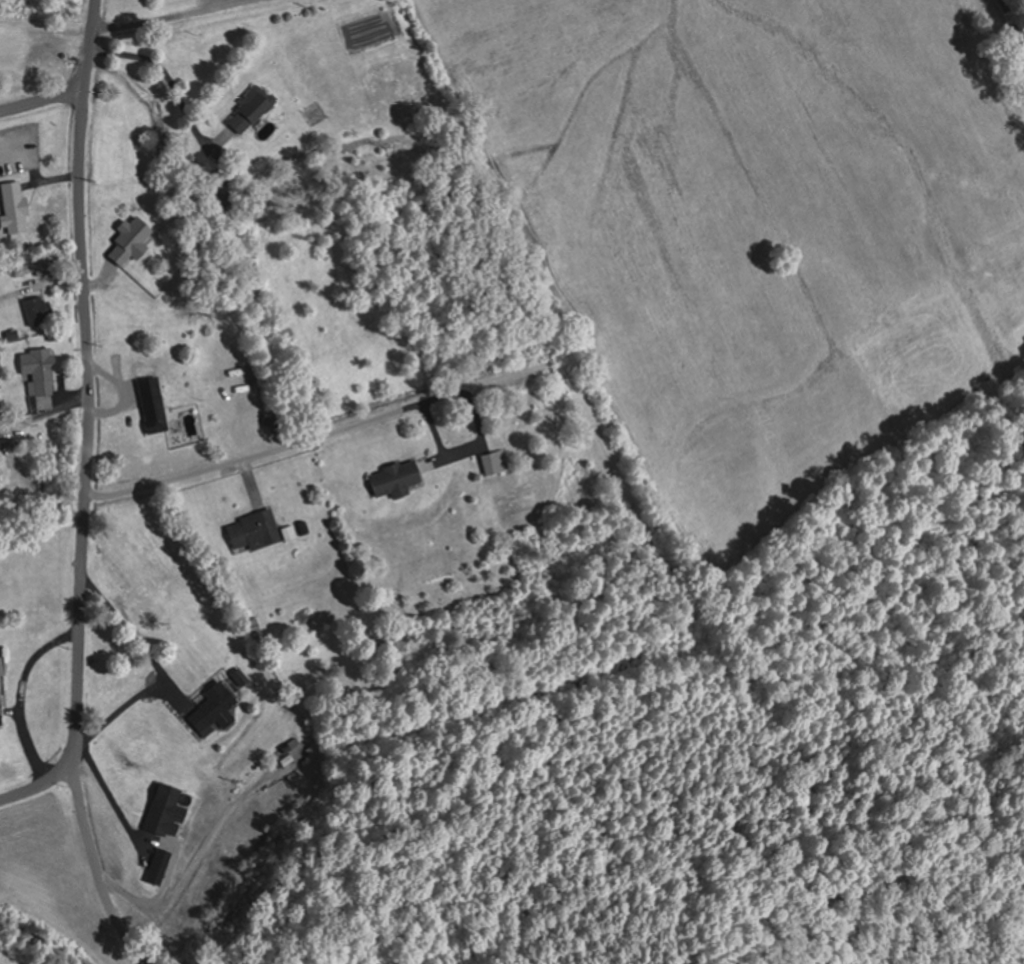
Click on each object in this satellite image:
road: (1014, 17)
road: (40, 106)
building: (251, 110)
building: (222, 200)
building: (15, 208)
building: (35, 268)
building: (38, 311)
building: (41, 375)
building: (156, 414)
road: (86, 422)
building: (496, 463)
building: (396, 480)
building: (1, 490)
building: (254, 531)
building: (1, 683)
building: (214, 710)
building: (168, 811)
road: (94, 856)
building: (159, 866)

